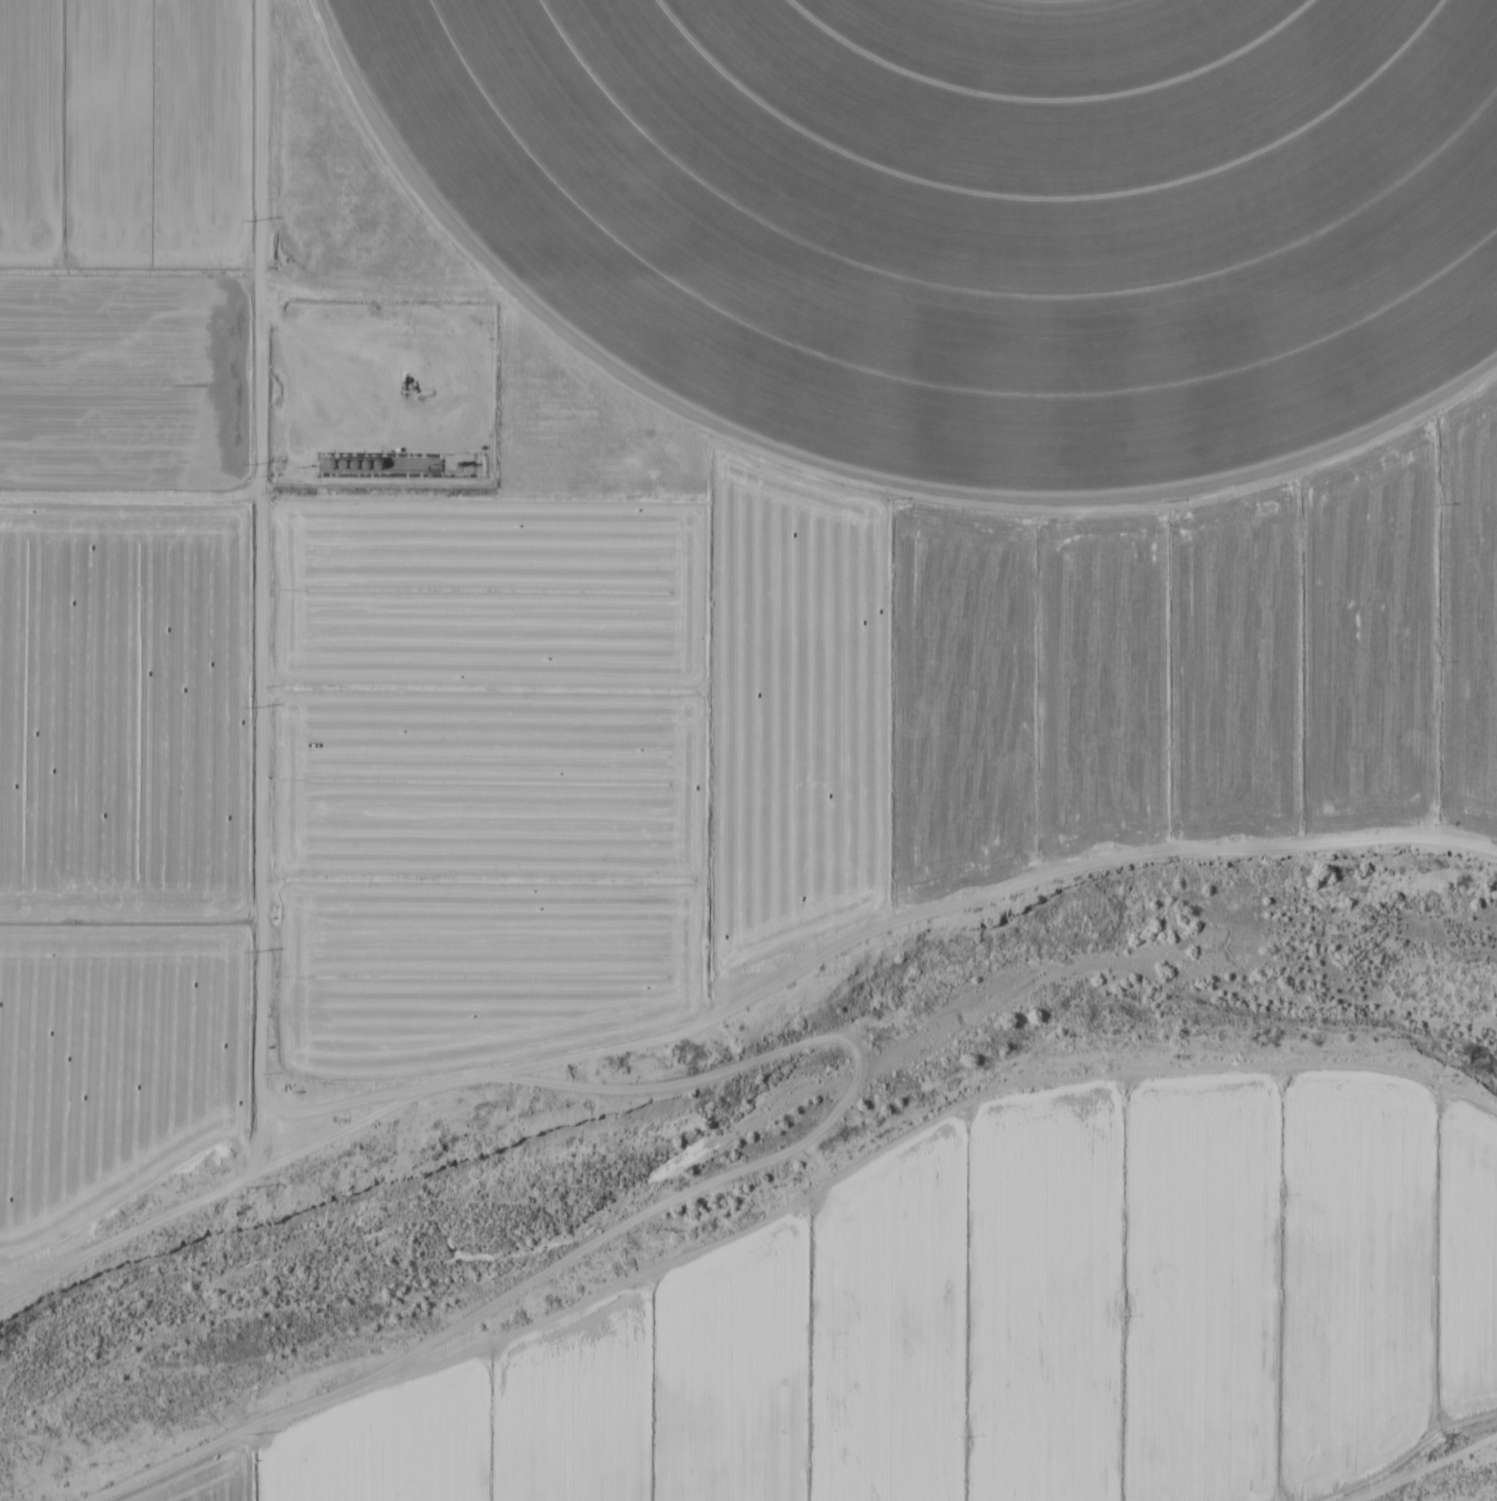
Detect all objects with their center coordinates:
road: (258, 657)
road: (732, 1005)

